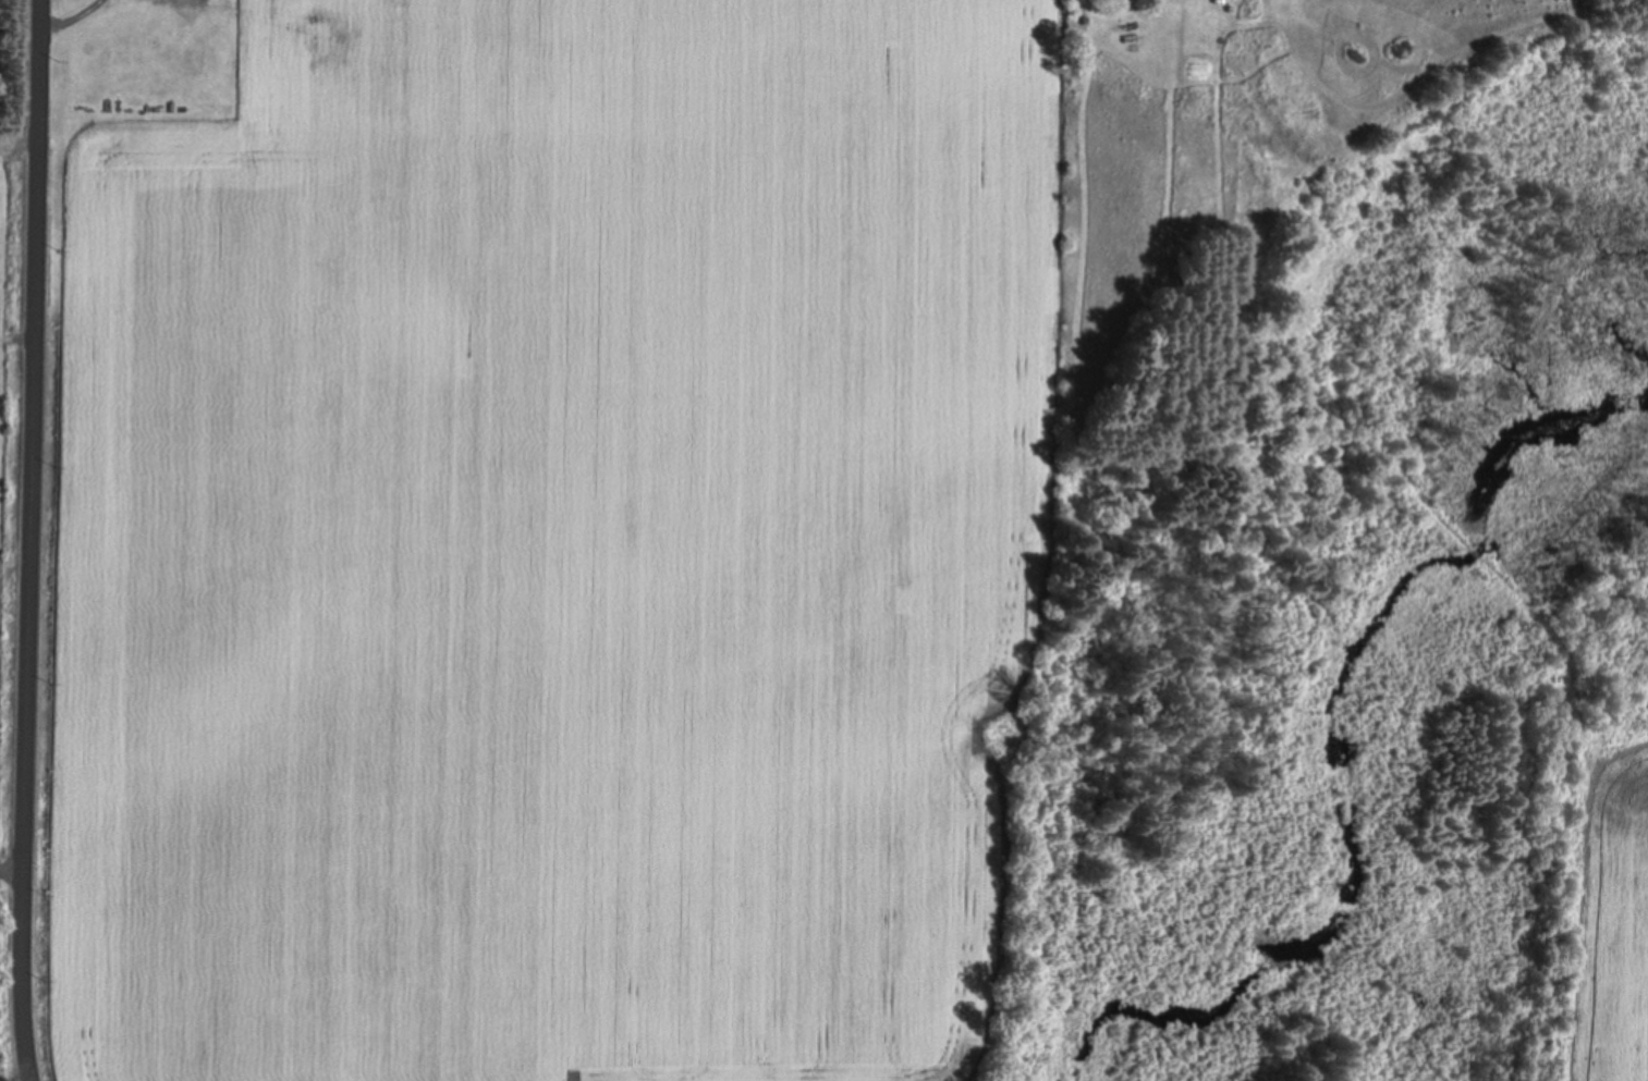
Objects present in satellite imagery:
road: (27, 540)
road: (10, 872)

